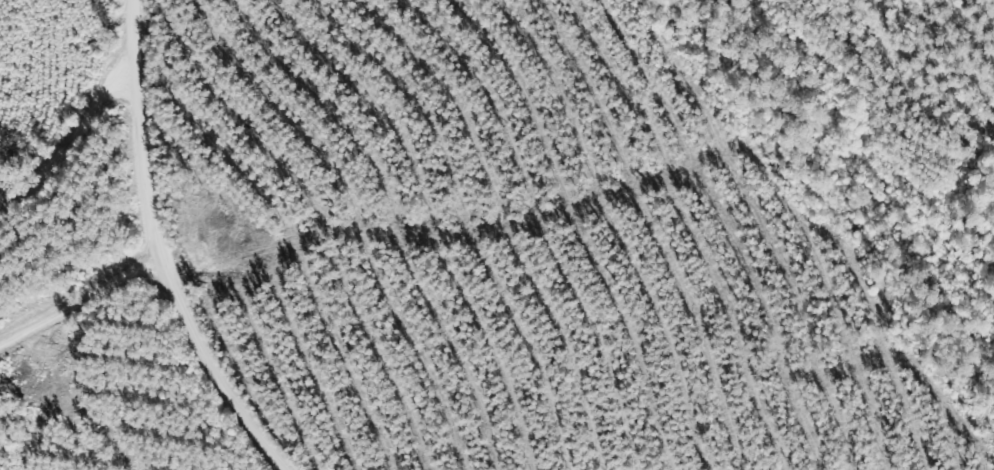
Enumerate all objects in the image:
road: (68, 143)
road: (154, 250)
road: (78, 301)

